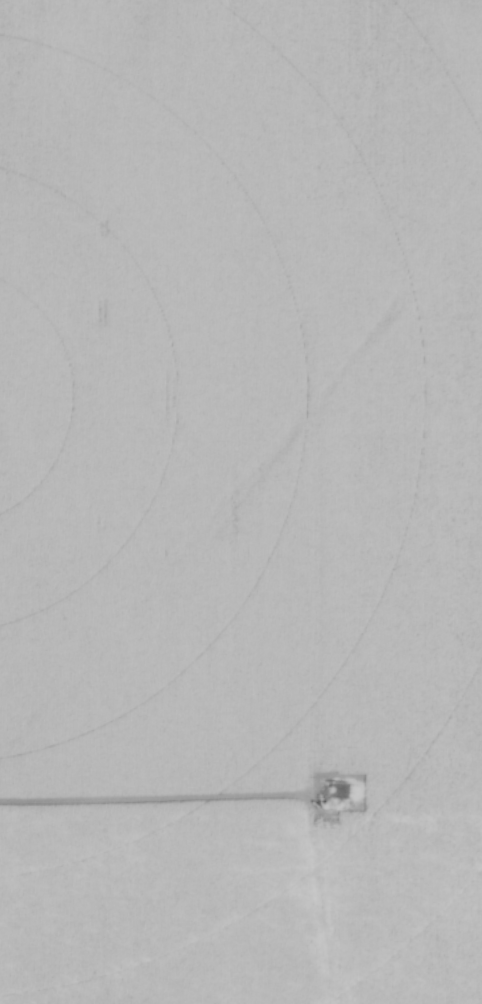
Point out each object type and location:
building: (336, 791)

